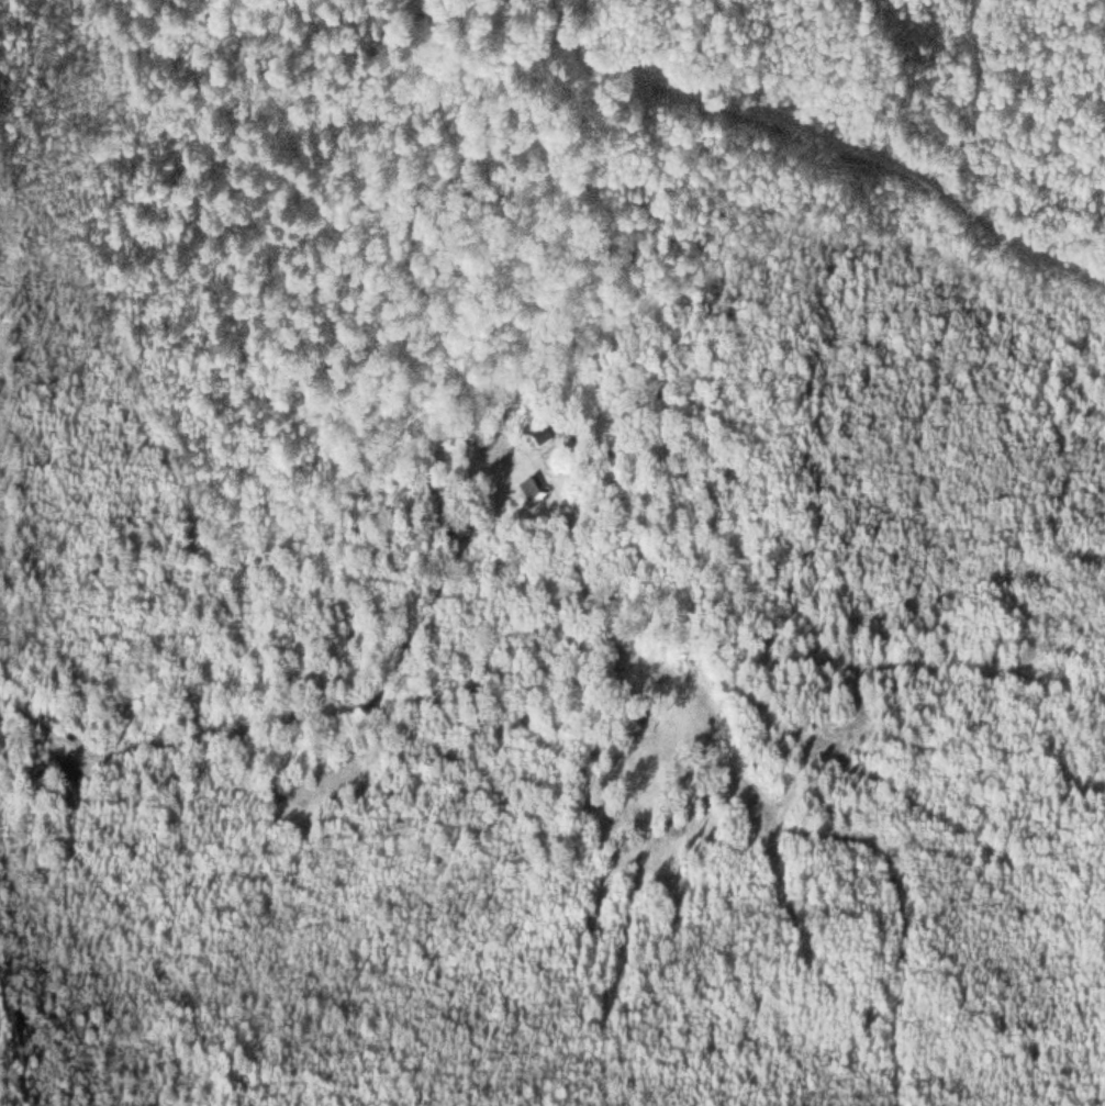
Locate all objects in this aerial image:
building: (542, 440)
building: (529, 494)
road: (12, 1029)

